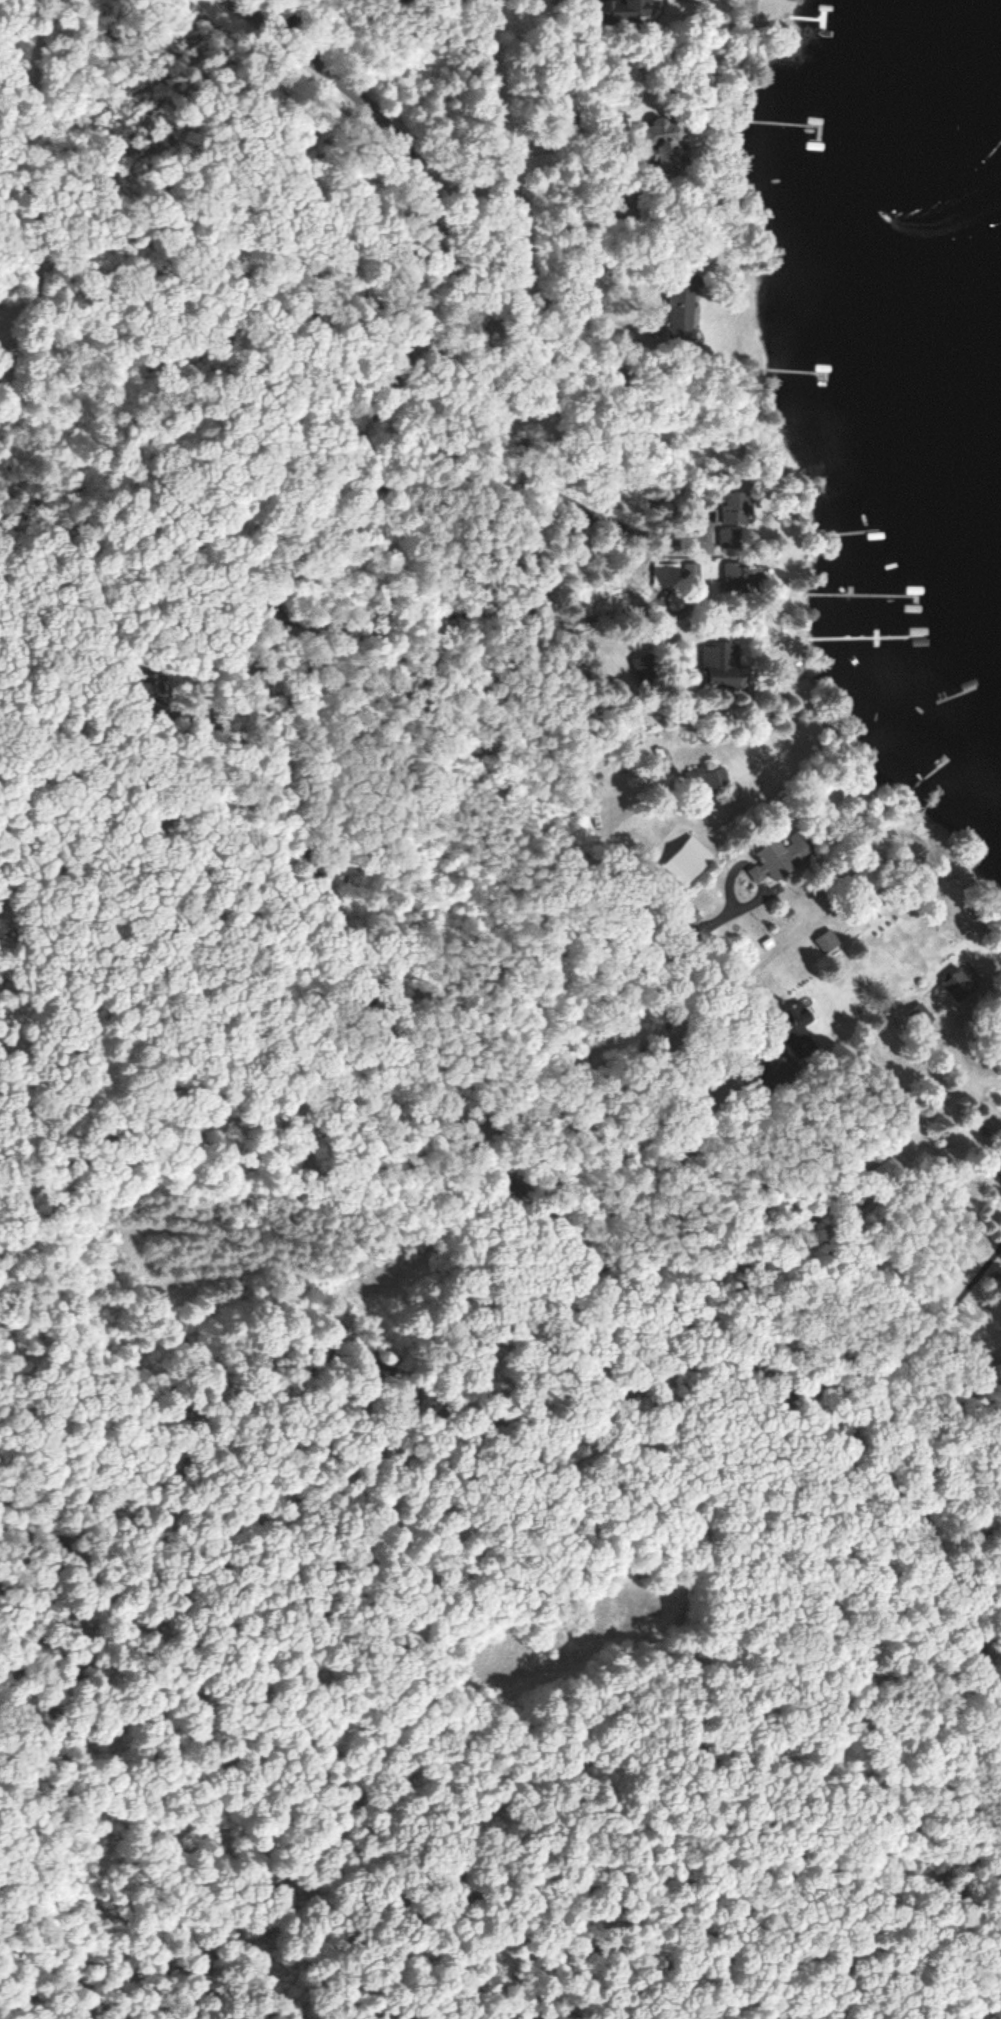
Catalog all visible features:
road: (200, 1)
building: (623, 11)
road: (305, 31)
building: (665, 149)
building: (681, 308)
building: (737, 509)
building: (730, 539)
building: (667, 577)
building: (749, 579)
building: (722, 664)
road: (300, 669)
building: (646, 672)
building: (135, 689)
road: (324, 754)
building: (708, 778)
road: (350, 822)
building: (782, 856)
building: (865, 881)
road: (319, 914)
building: (826, 941)
building: (960, 985)
road: (572, 988)
building: (920, 1017)
building: (797, 1032)
building: (996, 1167)
building: (886, 1171)

